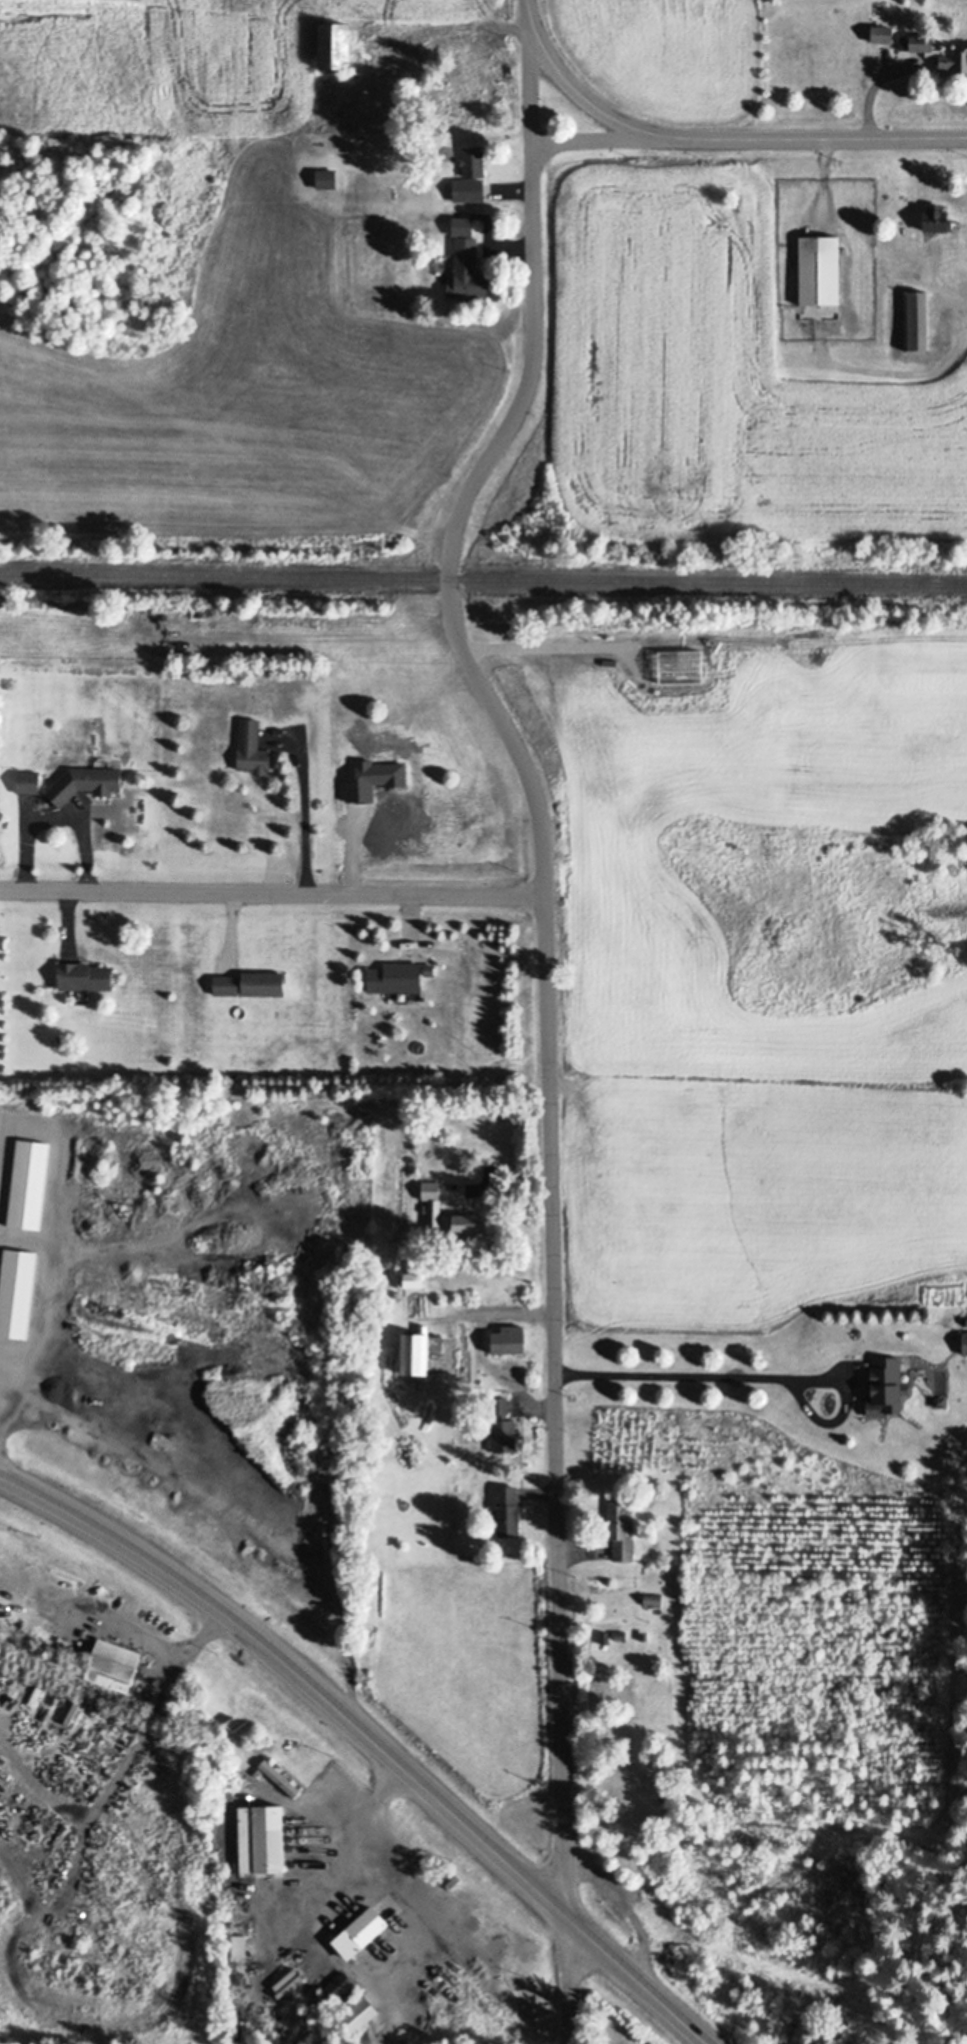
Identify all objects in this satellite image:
road: (526, 7)
building: (885, 34)
building: (924, 42)
building: (339, 45)
building: (954, 60)
road: (577, 93)
building: (470, 100)
road: (869, 102)
road: (814, 136)
road: (595, 138)
building: (472, 176)
building: (327, 178)
building: (941, 218)
building: (822, 270)
building: (470, 272)
building: (918, 320)
railway: (483, 578)
building: (254, 748)
building: (31, 782)
building: (88, 782)
road: (304, 814)
road: (271, 891)
building: (88, 976)
building: (399, 977)
building: (252, 984)
road: (544, 1010)
building: (31, 1185)
road: (498, 1187)
building: (432, 1191)
building: (471, 1224)
road: (44, 1244)
building: (418, 1281)
building: (18, 1293)
building: (511, 1340)
building: (966, 1343)
road: (670, 1373)
road: (829, 1376)
building: (888, 1386)
road: (813, 1413)
building: (507, 1431)
building: (510, 1512)
building: (624, 1531)
building: (116, 1667)
road: (297, 1675)
building: (264, 1839)
road: (618, 1906)
building: (363, 1932)
road: (636, 1979)
building: (336, 1982)
building: (361, 2014)

